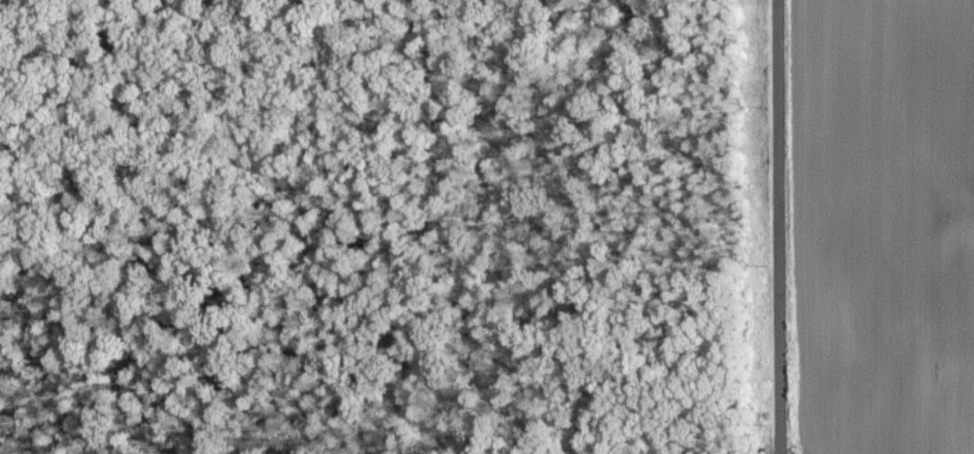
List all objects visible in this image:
road: (782, 227)

